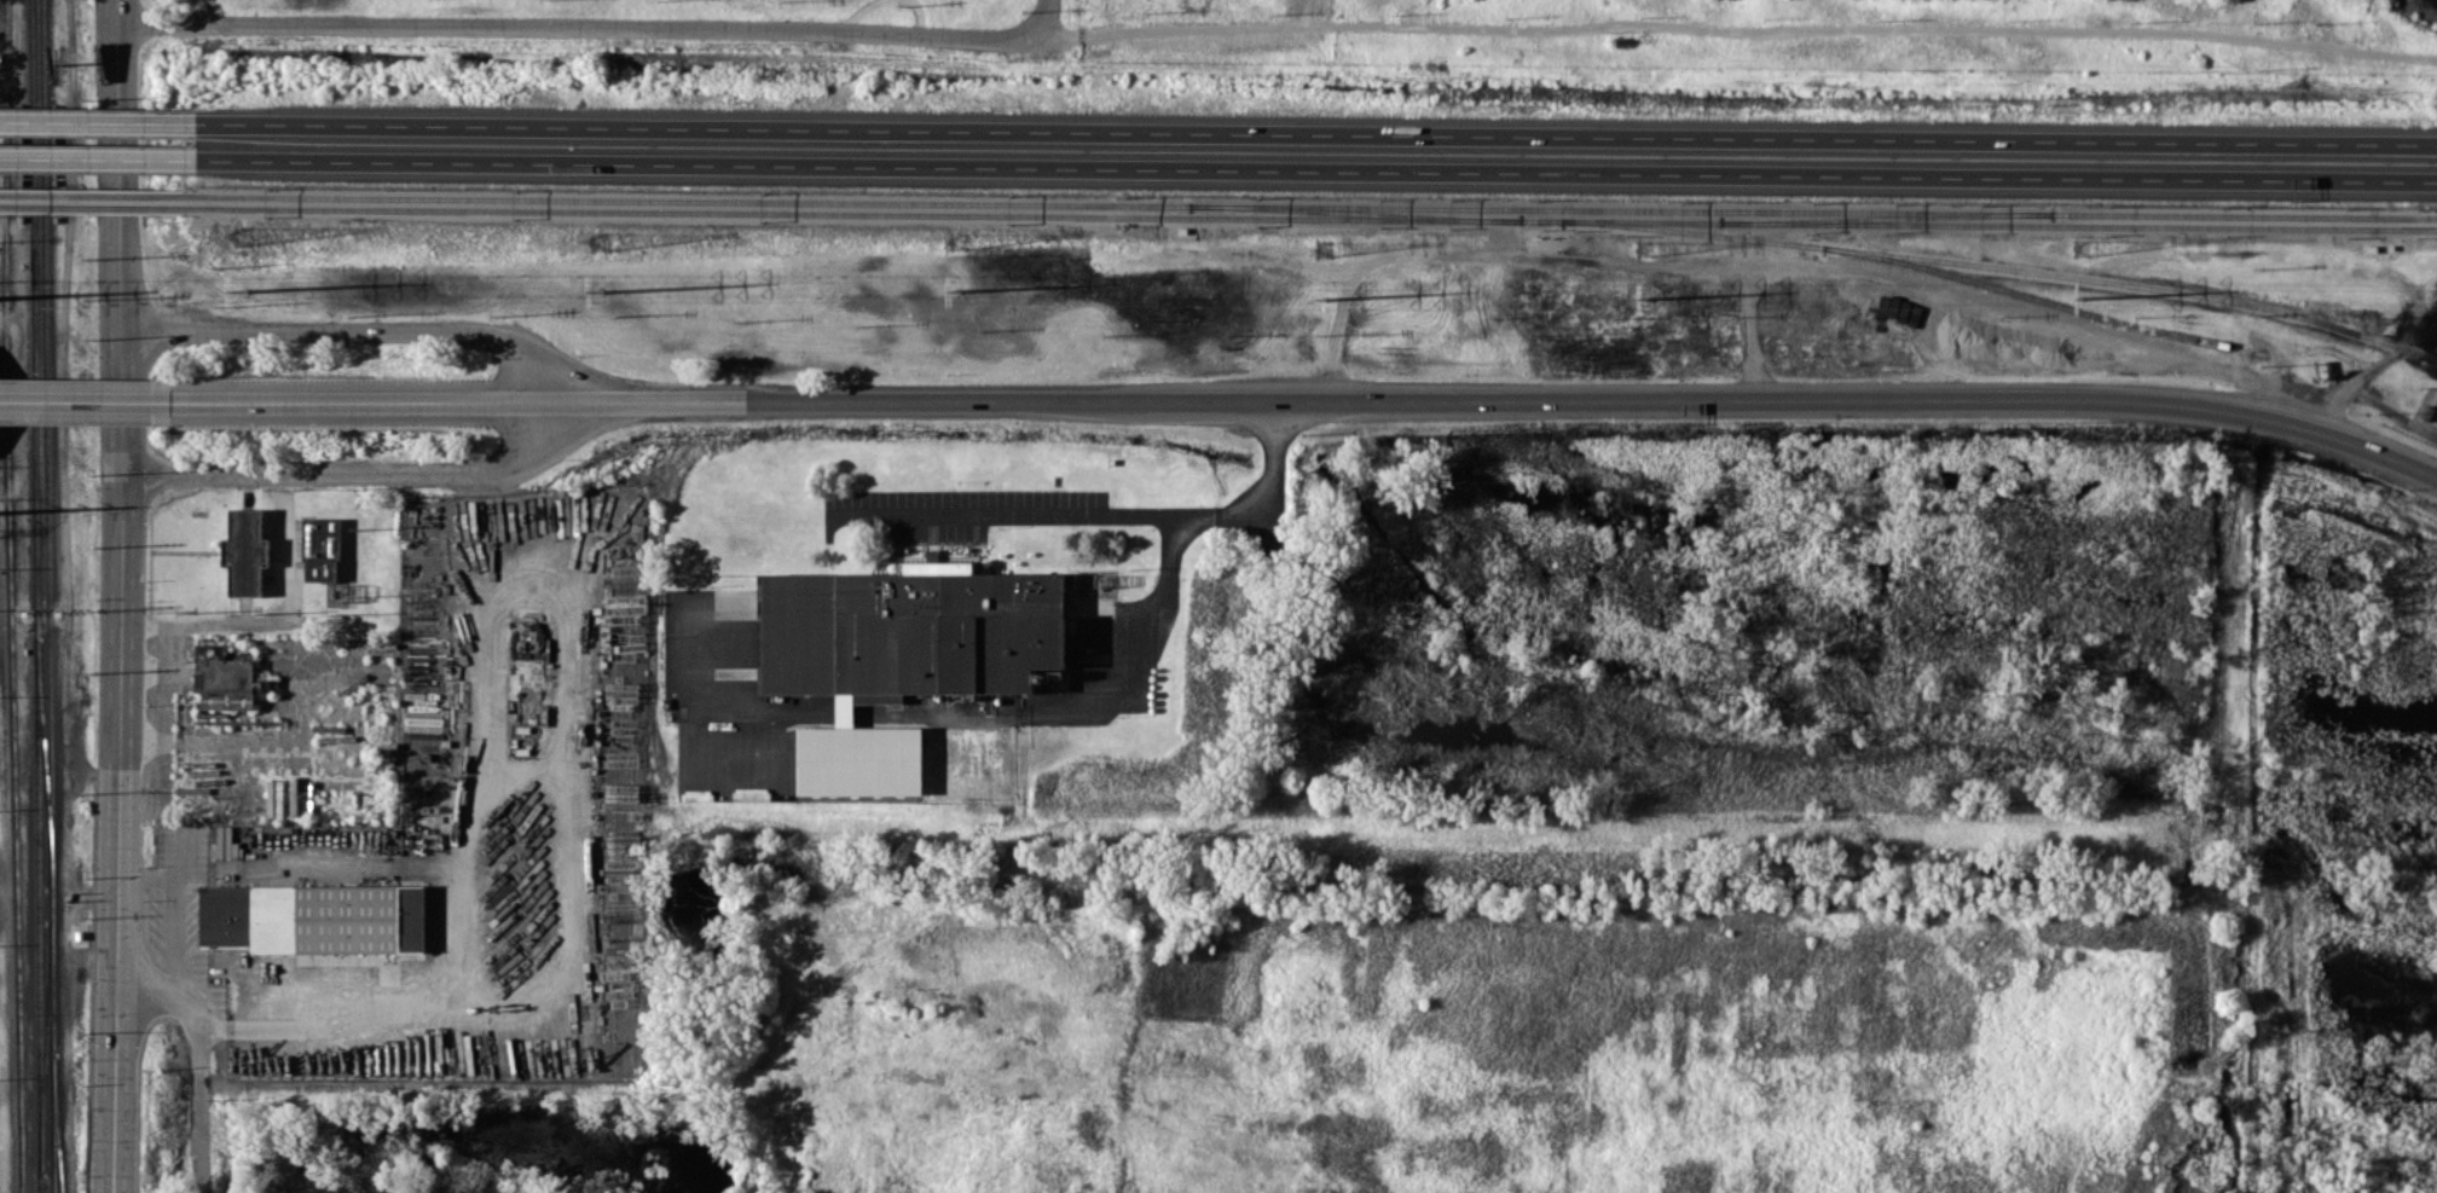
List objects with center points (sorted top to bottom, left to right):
road: (2183, 17)
road: (1741, 27)
road: (596, 35)
road: (98, 121)
road: (1316, 133)
road: (98, 157)
road: (1316, 168)
railway: (97, 204)
railway: (1315, 209)
railway: (97, 215)
railway: (1353, 215)
railway: (1315, 220)
railway: (1886, 221)
railway: (2003, 268)
power tower: (243, 288)
power tower: (957, 288)
power tower: (598, 289)
power tower: (1645, 295)
power tower: (2083, 295)
power tower: (1322, 297)
railway: (2054, 301)
railway: (31, 318)
road: (359, 330)
road: (1515, 399)
road: (86, 400)
road: (377, 401)
road: (2339, 413)
railway: (46, 444)
road: (357, 468)
road: (1098, 512)
building: (319, 549)
building: (243, 551)
railway: (7, 596)
road: (108, 596)
road: (271, 619)
road: (1131, 654)
building: (899, 655)
building: (224, 678)
road: (734, 702)
road: (847, 714)
road: (933, 716)
road: (237, 740)
railway: (41, 763)
road: (509, 772)
road: (173, 892)
railway: (36, 915)
building: (313, 917)
road: (568, 936)
road: (155, 995)
railway: (50, 1041)
railway: (45, 1048)
railway: (54, 1122)

